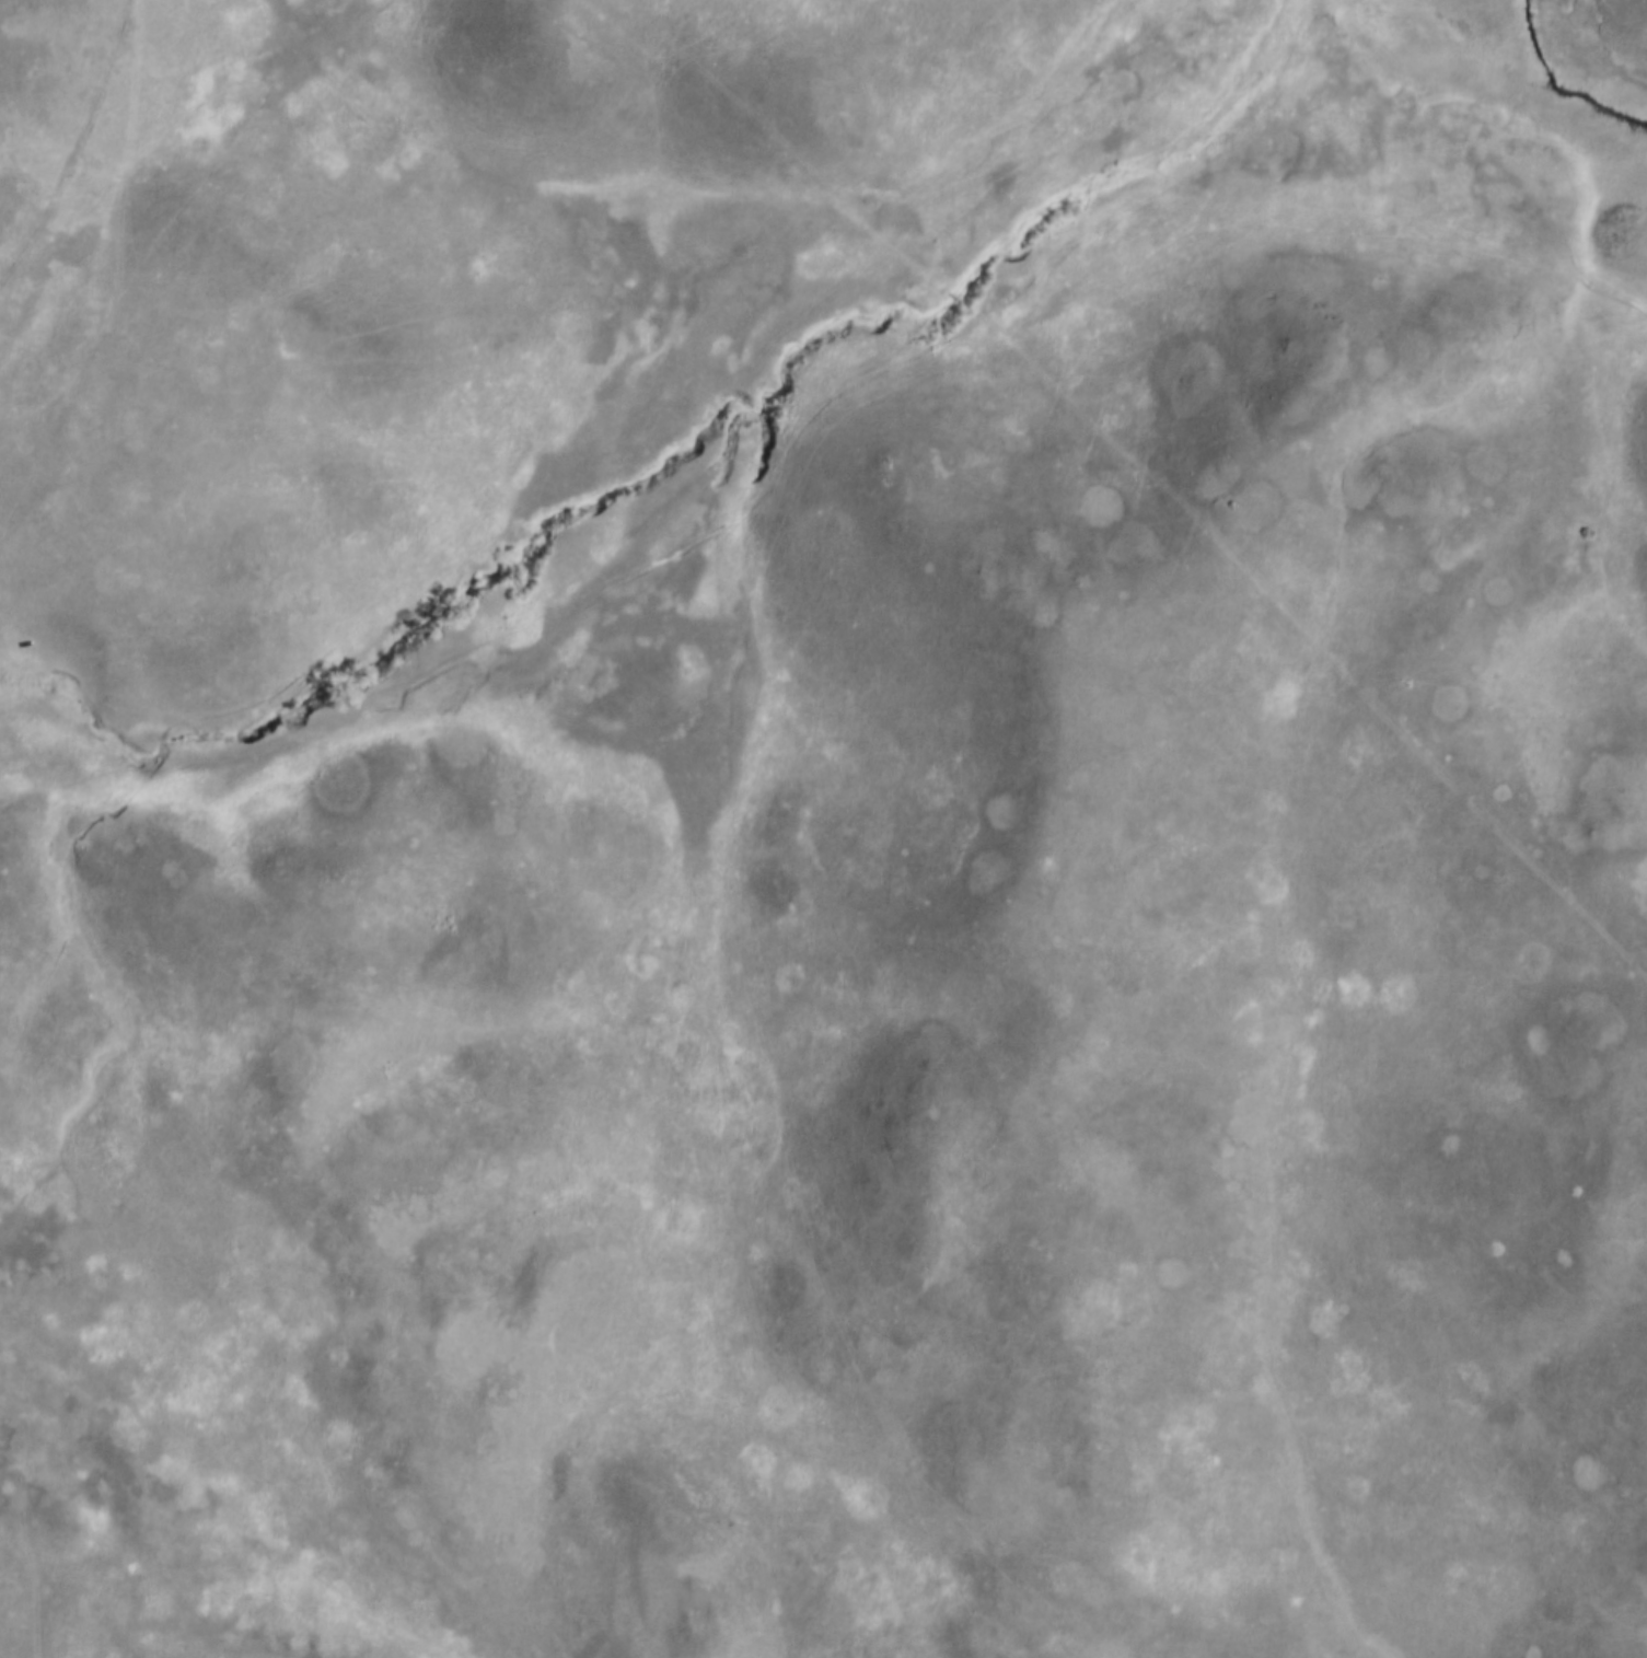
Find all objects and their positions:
road: (80, 151)
road: (34, 1502)

